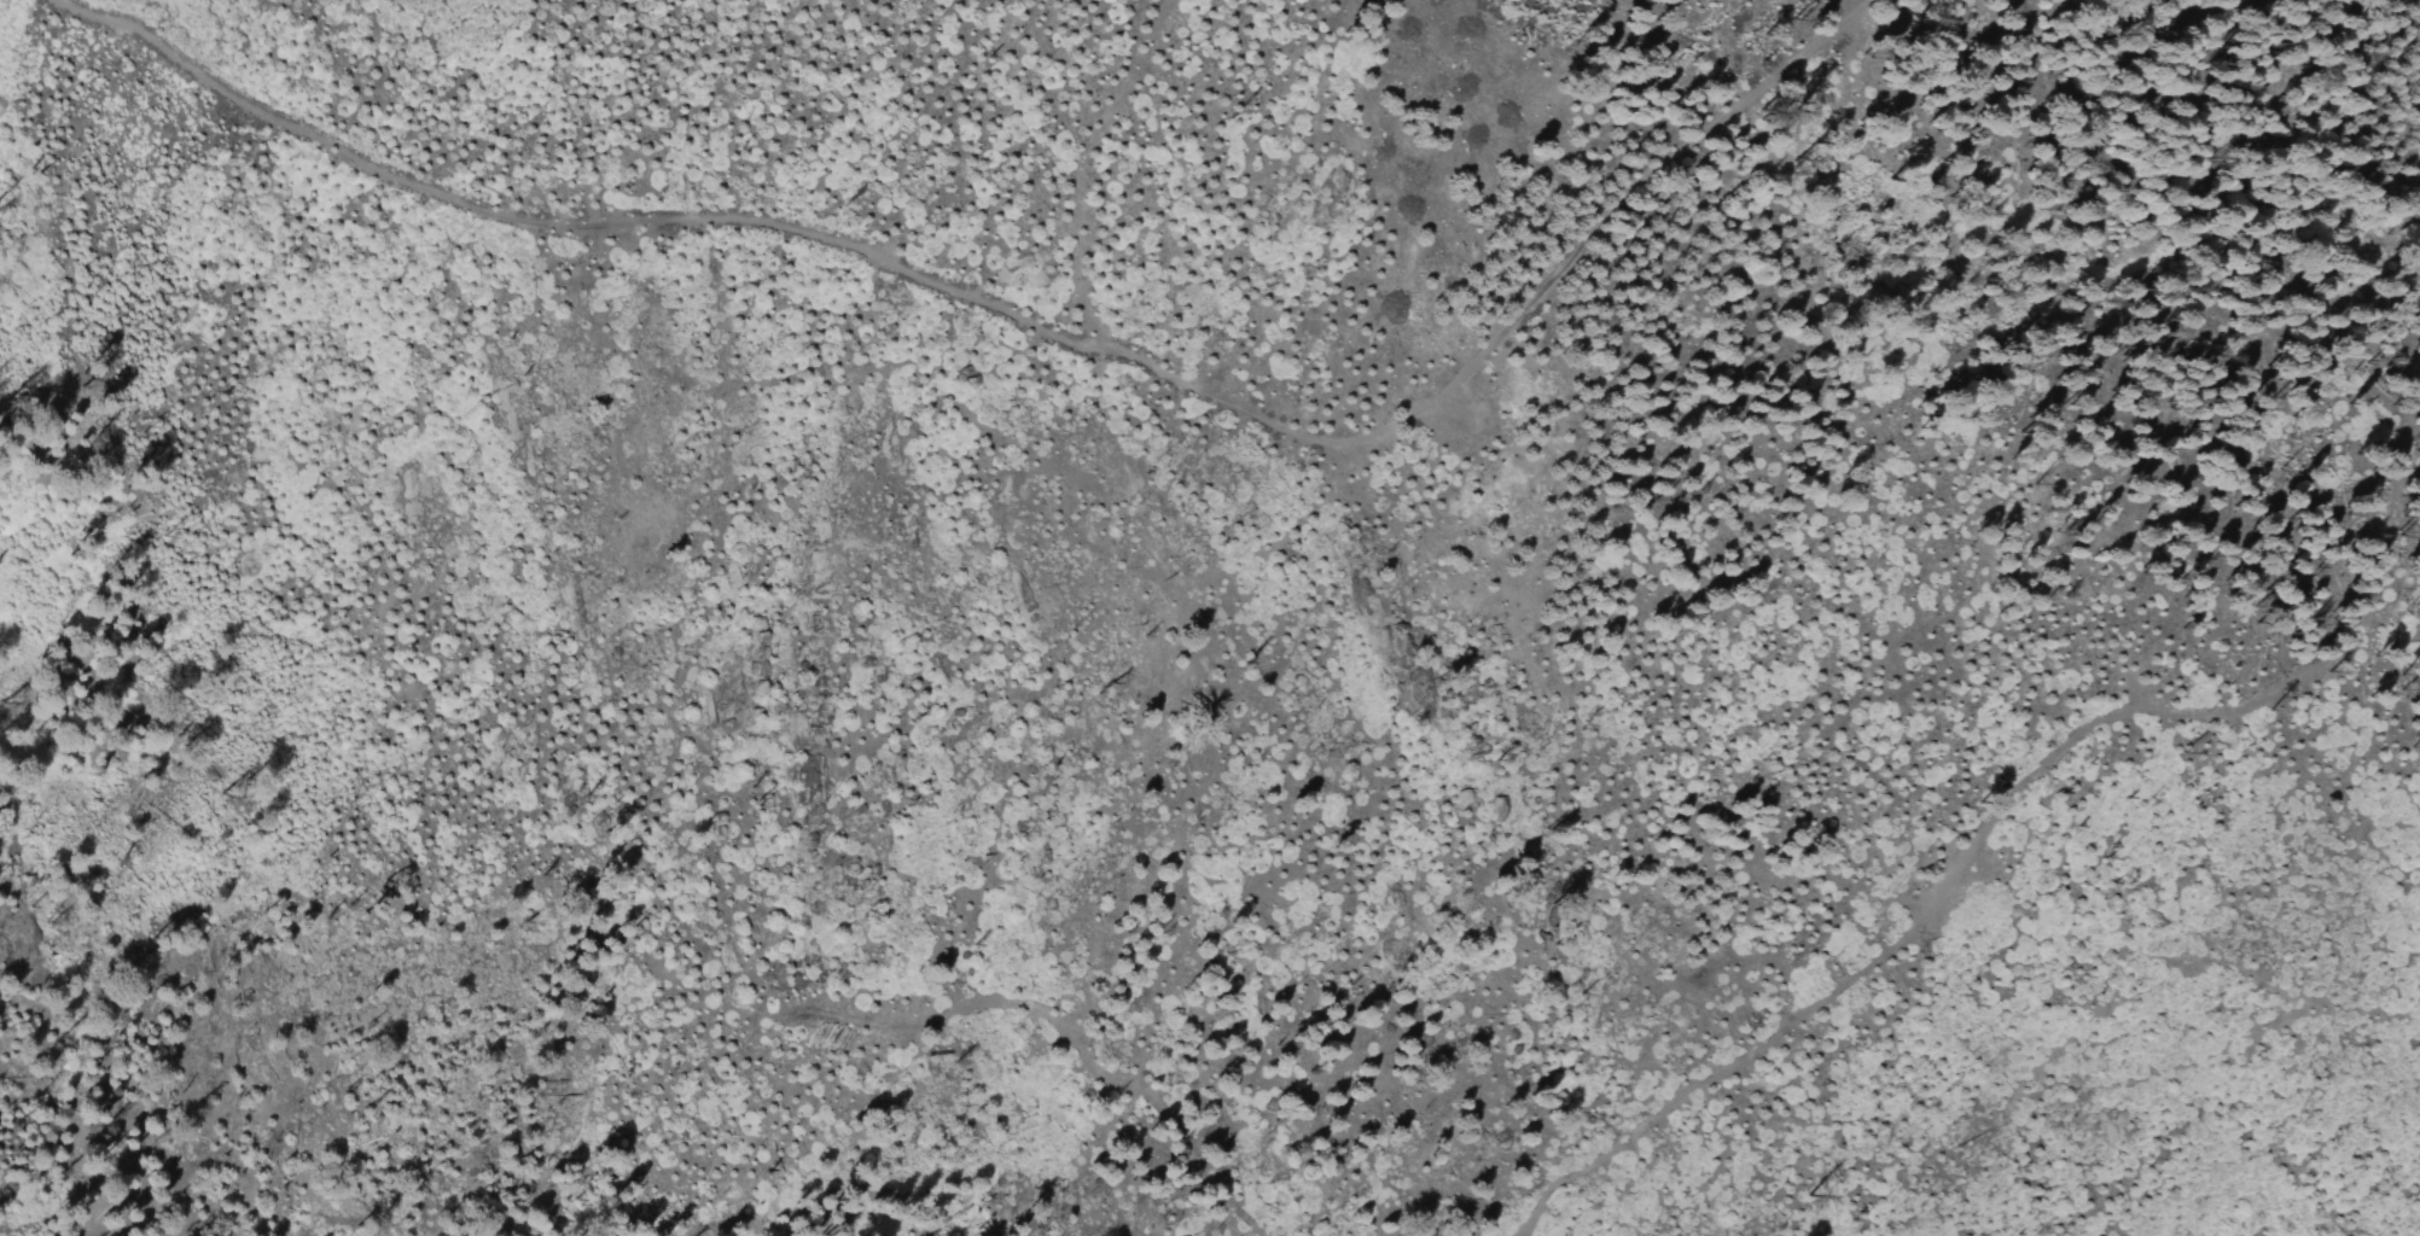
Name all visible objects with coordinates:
road: (1576, 323)

